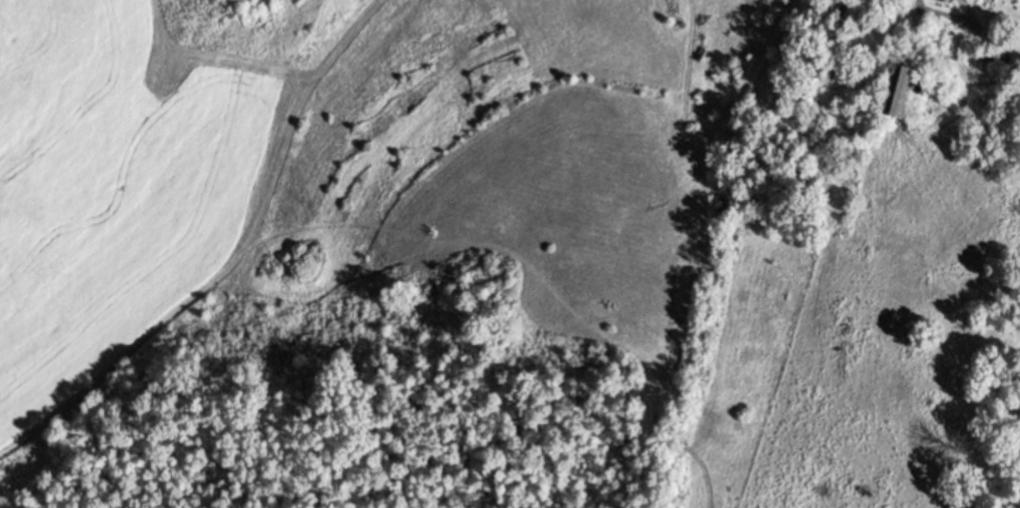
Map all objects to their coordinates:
building: (937, 0)
building: (843, 10)
road: (971, 28)
building: (987, 55)
building: (1019, 84)
building: (897, 88)

